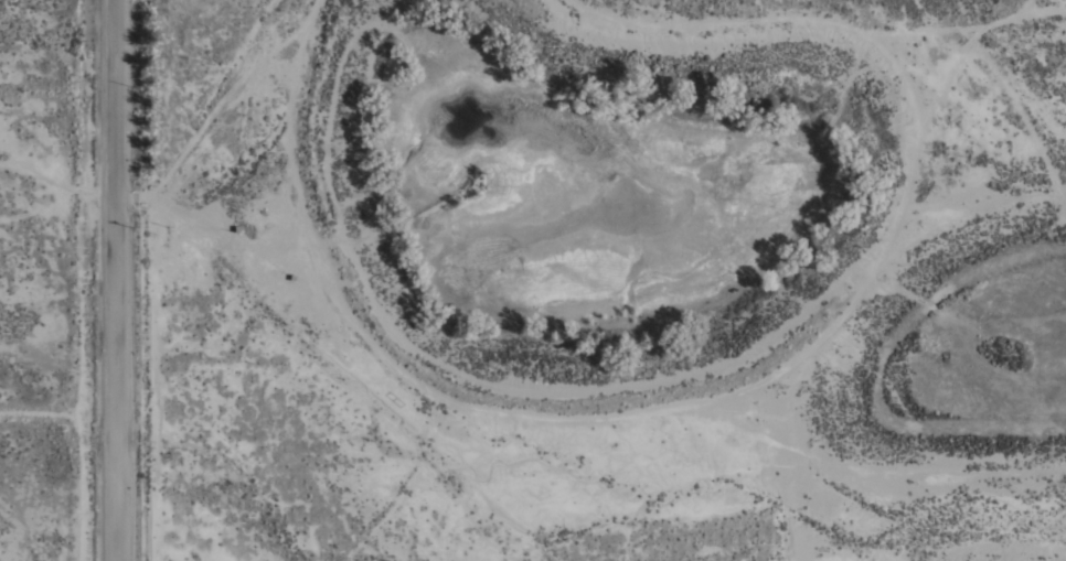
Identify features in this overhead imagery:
road: (119, 280)

